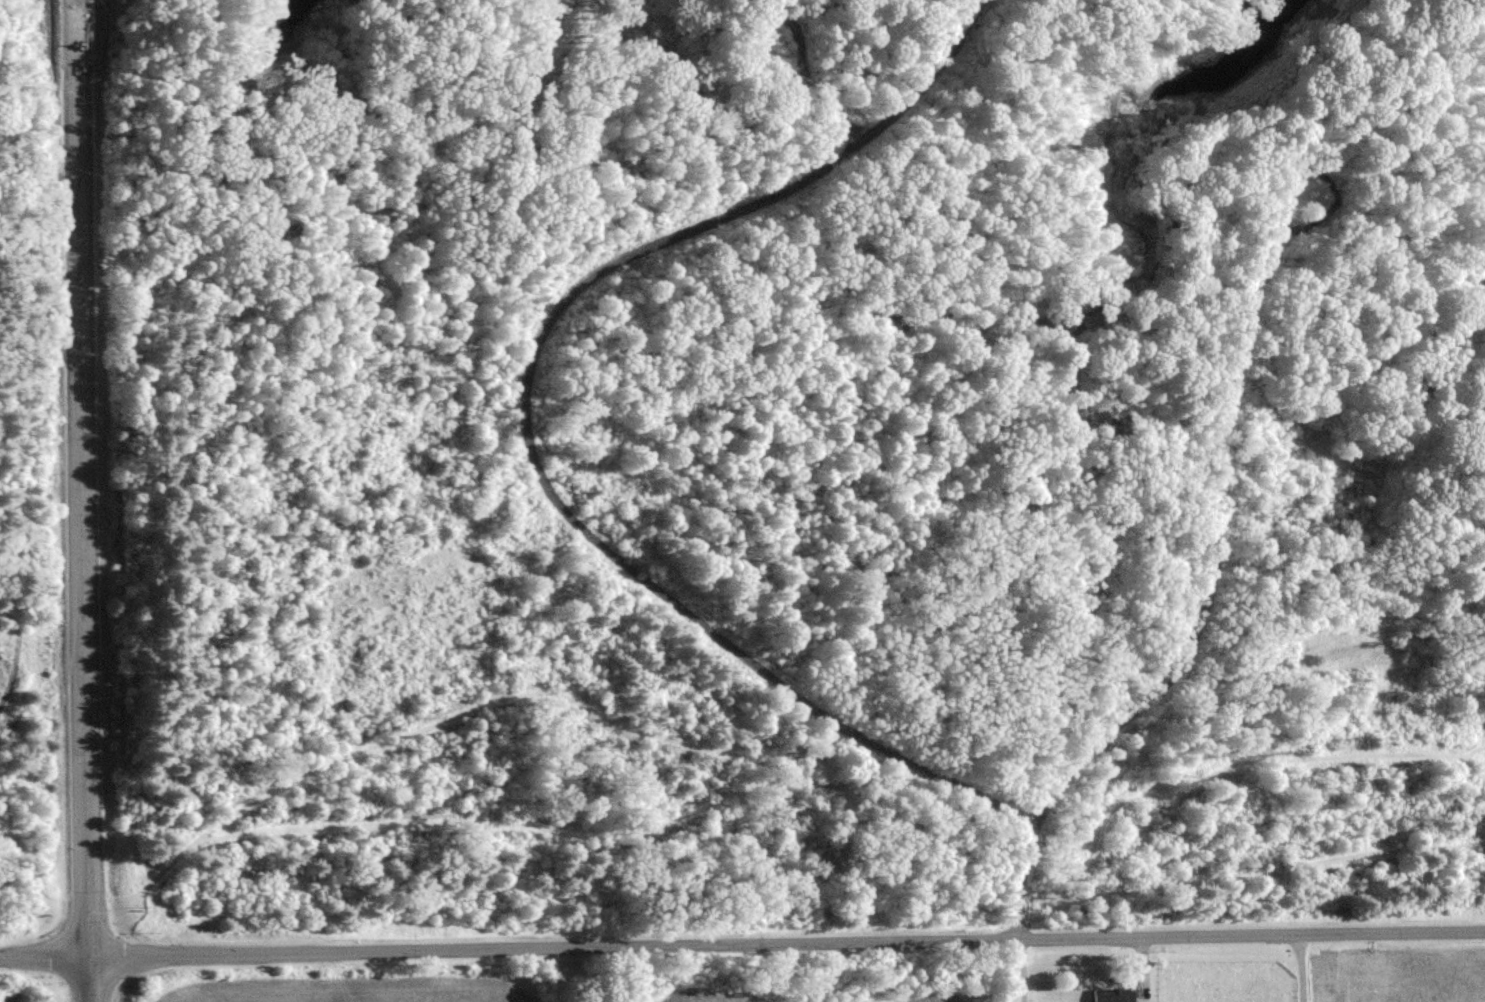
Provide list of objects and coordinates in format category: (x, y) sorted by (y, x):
road: (792, 22)
road: (834, 108)
road: (1338, 194)
road: (526, 424)
road: (82, 501)
road: (1199, 619)
road: (872, 777)
road: (861, 803)
road: (13, 825)
road: (112, 908)
road: (786, 943)
road: (43, 956)
road: (1302, 967)
road: (1024, 970)
building: (1113, 993)

